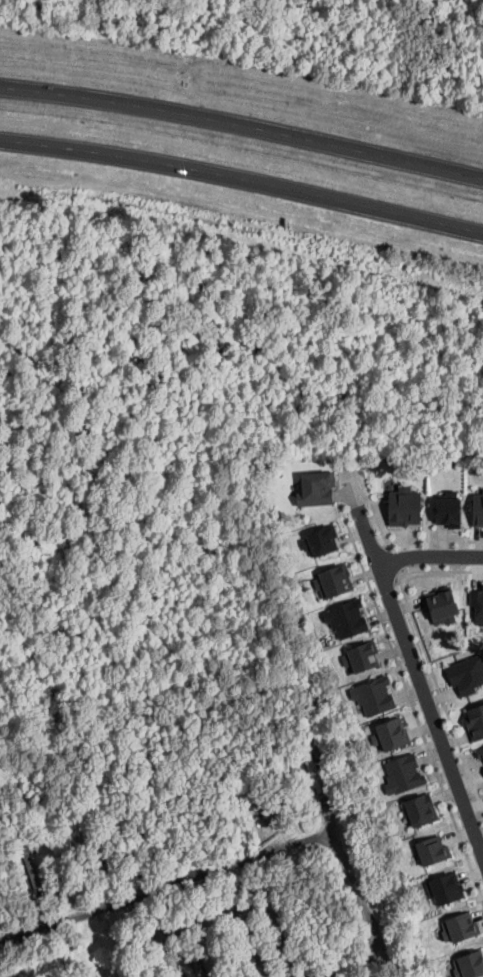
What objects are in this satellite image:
road: (241, 139)
road: (242, 192)
building: (315, 489)
building: (404, 506)
building: (447, 507)
building: (477, 509)
building: (321, 540)
road: (427, 558)
building: (333, 581)
building: (477, 604)
building: (441, 605)
building: (345, 618)
building: (359, 657)
building: (466, 674)
road: (419, 691)
building: (373, 695)
building: (474, 722)
building: (390, 734)
building: (481, 754)
building: (402, 775)
building: (318, 784)
building: (420, 810)
building: (432, 851)
road: (232, 864)
building: (446, 889)
building: (461, 927)
building: (469, 965)

